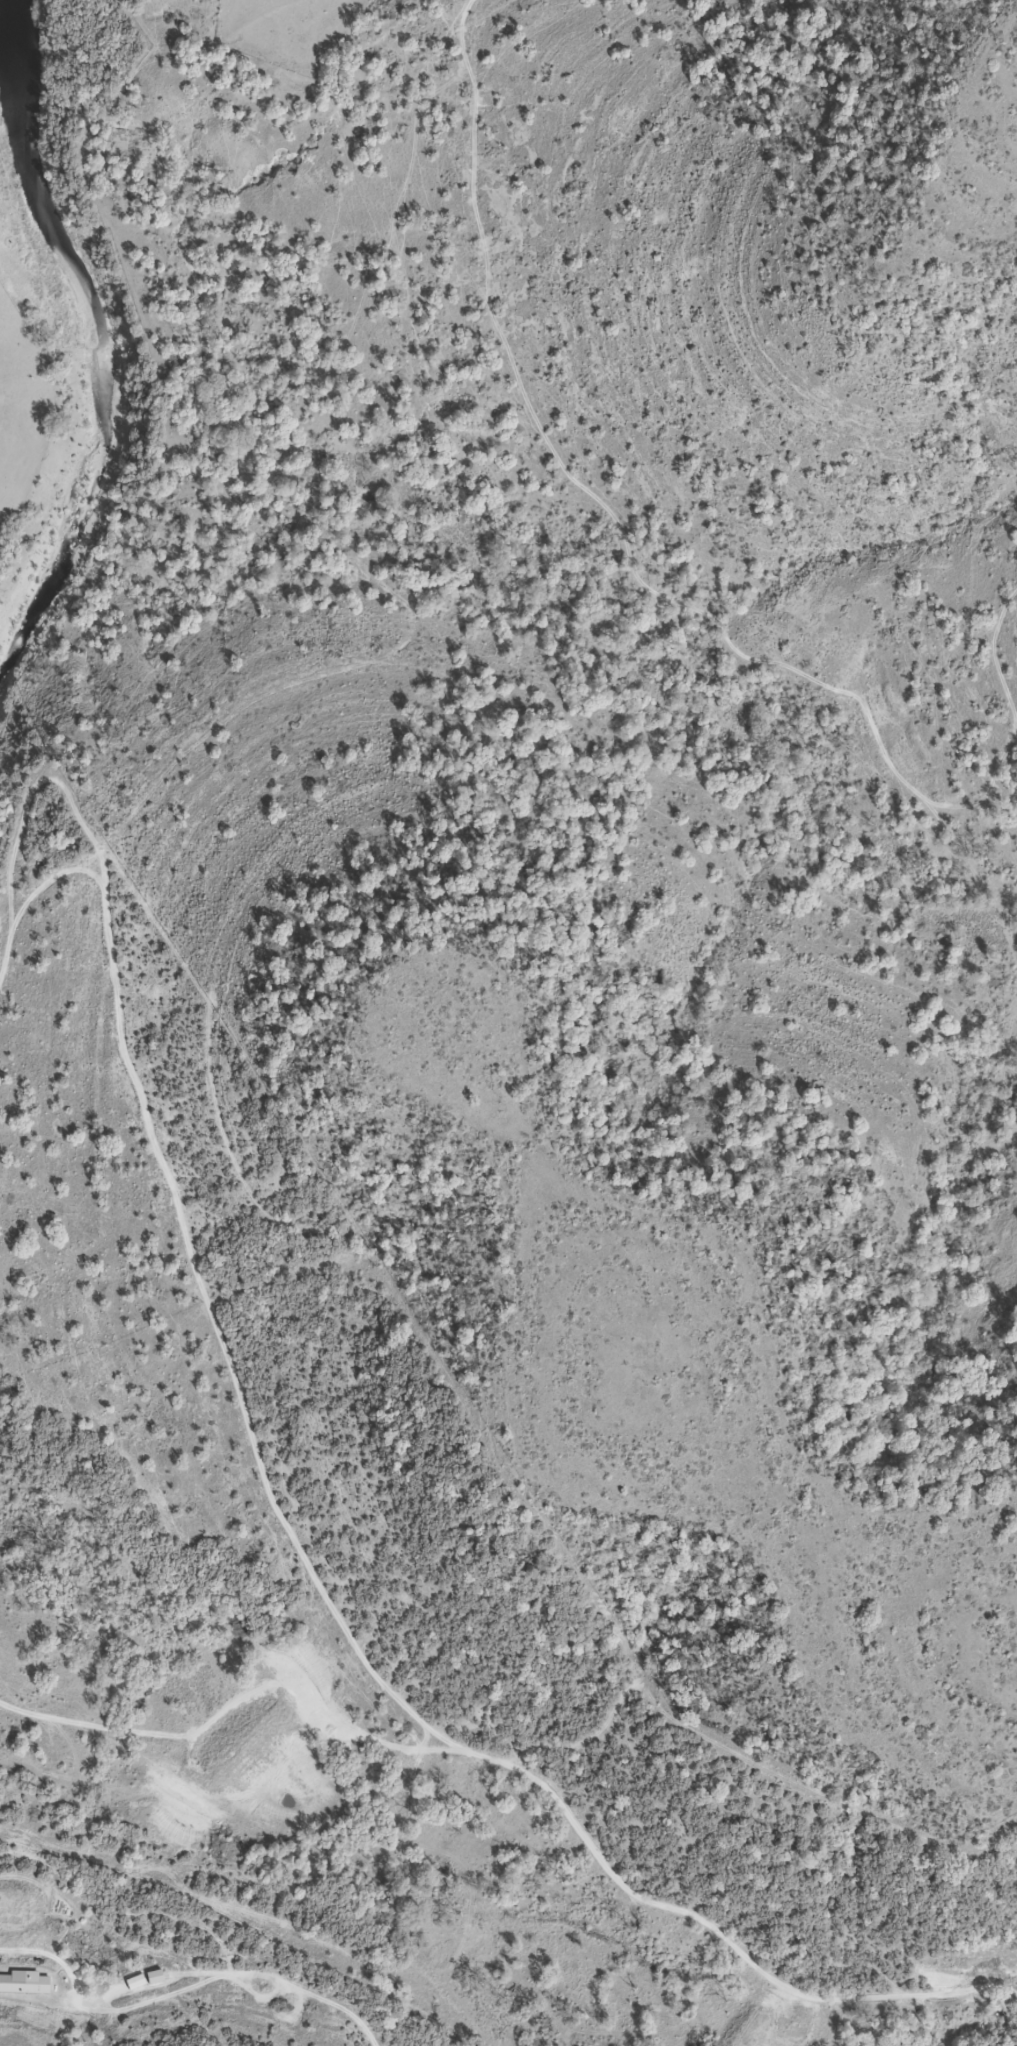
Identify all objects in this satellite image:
road: (35, 1948)
building: (155, 1978)
building: (24, 1984)
building: (136, 1984)

